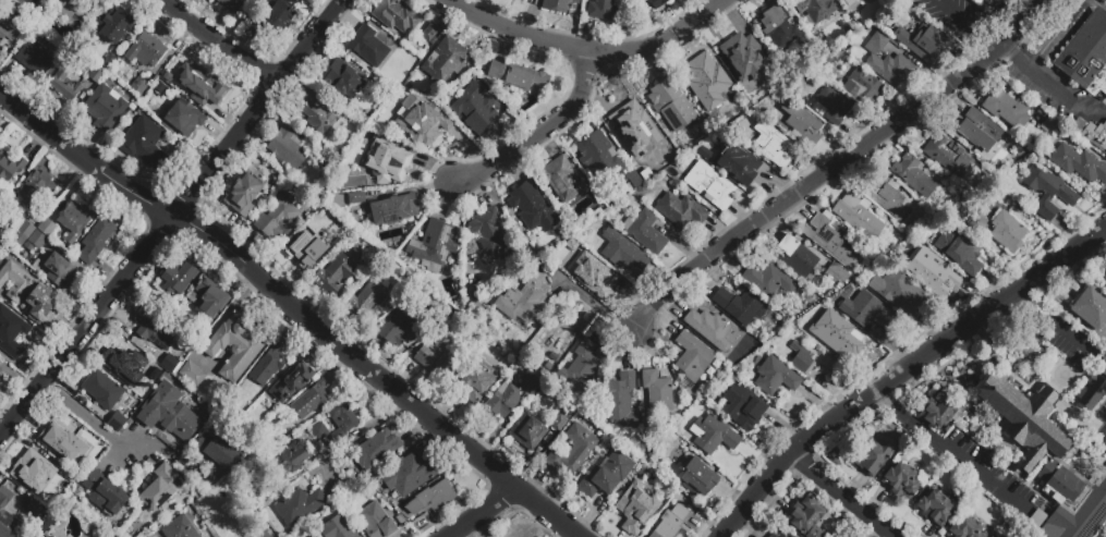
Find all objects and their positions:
building: (521, 0)
building: (848, 1)
road: (1034, 2)
building: (657, 3)
building: (231, 4)
building: (986, 4)
road: (1099, 4)
building: (559, 5)
building: (16, 8)
building: (73, 10)
building: (601, 11)
building: (815, 11)
building: (397, 15)
building: (913, 16)
road: (959, 19)
road: (996, 19)
building: (275, 21)
building: (777, 26)
building: (114, 28)
building: (9, 32)
building: (429, 33)
road: (1060, 36)
building: (36, 37)
road: (220, 42)
building: (923, 42)
road: (989, 44)
building: (367, 47)
road: (587, 50)
building: (741, 50)
building: (145, 52)
building: (1086, 56)
road: (1014, 59)
building: (34, 60)
building: (445, 60)
building: (887, 62)
building: (171, 71)
building: (95, 75)
building: (518, 75)
building: (705, 76)
building: (342, 81)
building: (64, 84)
building: (138, 86)
building: (159, 87)
building: (864, 87)
building: (206, 90)
road: (1056, 91)
building: (672, 105)
building: (832, 106)
building: (106, 107)
building: (475, 109)
building: (1006, 109)
road: (1093, 109)
building: (317, 117)
building: (184, 120)
building: (422, 123)
building: (801, 124)
building: (1049, 125)
building: (633, 127)
building: (979, 131)
road: (538, 133)
building: (1091, 133)
building: (144, 143)
building: (773, 144)
building: (288, 147)
building: (947, 155)
building: (599, 156)
building: (388, 161)
building: (745, 163)
building: (1078, 164)
road: (834, 167)
building: (11, 170)
building: (914, 175)
building: (562, 179)
building: (710, 185)
building: (35, 190)
building: (1049, 193)
building: (243, 195)
building: (886, 195)
building: (356, 198)
building: (532, 207)
building: (393, 209)
building: (680, 210)
building: (859, 216)
road: (171, 217)
building: (278, 217)
building: (74, 220)
building: (979, 225)
building: (47, 228)
building: (21, 231)
building: (645, 232)
building: (493, 233)
building: (1008, 235)
building: (831, 240)
building: (35, 241)
building: (95, 241)
building: (434, 246)
building: (919, 246)
building: (309, 247)
building: (621, 253)
building: (959, 253)
building: (793, 257)
road: (1064, 264)
building: (59, 270)
building: (592, 270)
building: (335, 274)
building: (178, 277)
building: (1102, 277)
building: (934, 279)
building: (768, 280)
building: (898, 291)
building: (29, 293)
building: (209, 297)
building: (524, 298)
building: (368, 300)
building: (741, 306)
road: (291, 308)
building: (1091, 309)
building: (867, 312)
building: (475, 313)
road: (1061, 325)
building: (826, 326)
building: (399, 327)
building: (709, 329)
building: (155, 330)
building: (11, 333)
building: (234, 346)
building: (490, 356)
building: (427, 358)
building: (692, 358)
building: (800, 358)
building: (121, 364)
building: (171, 365)
building: (268, 366)
building: (579, 368)
building: (155, 371)
building: (192, 374)
building: (776, 377)
building: (1, 378)
building: (292, 381)
building: (531, 383)
building: (475, 385)
building: (102, 390)
building: (657, 391)
building: (1092, 395)
building: (505, 400)
road: (860, 401)
building: (622, 402)
building: (309, 403)
building: (740, 405)
building: (168, 411)
building: (938, 411)
road: (86, 415)
road: (907, 417)
building: (342, 420)
building: (560, 420)
building: (117, 423)
building: (1025, 423)
building: (318, 430)
building: (528, 430)
building: (713, 435)
road: (350, 438)
building: (63, 443)
building: (573, 449)
building: (219, 450)
building: (376, 450)
building: (874, 457)
building: (290, 461)
building: (605, 472)
building: (405, 475)
road: (983, 475)
building: (31, 476)
building: (695, 477)
building: (900, 481)
building: (64, 483)
building: (160, 488)
building: (105, 495)
building: (74, 496)
road: (843, 496)
building: (428, 499)
building: (1073, 501)
building: (299, 505)
building: (636, 508)
building: (935, 509)
building: (32, 510)
road: (482, 513)
building: (8, 516)
building: (806, 517)
building: (376, 521)
building: (1037, 522)
building: (667, 526)
building: (44, 527)
building: (179, 528)
building: (336, 528)
building: (963, 528)
building: (778, 534)
building: (264, 535)
building: (46, 536)
building: (48, 536)
building: (311, 536)

